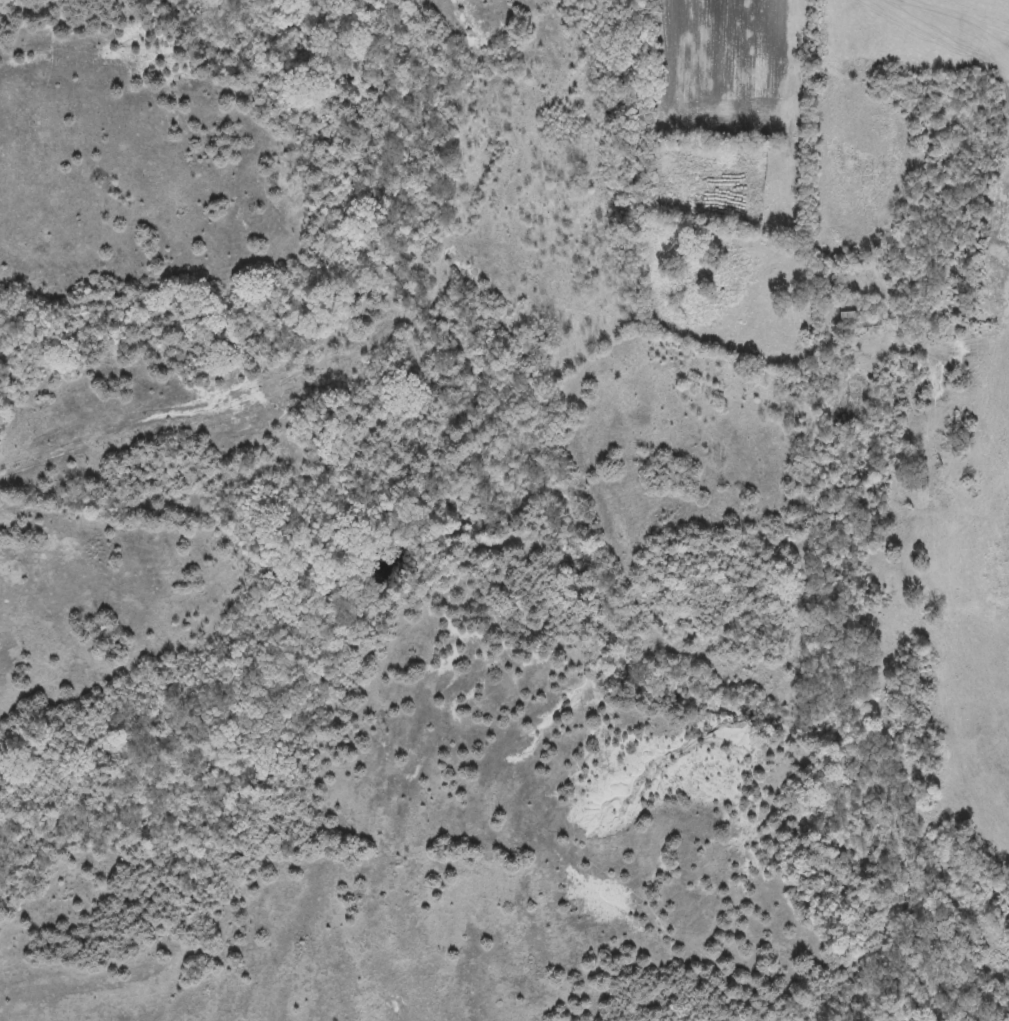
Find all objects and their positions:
road: (802, 48)
building: (855, 316)

